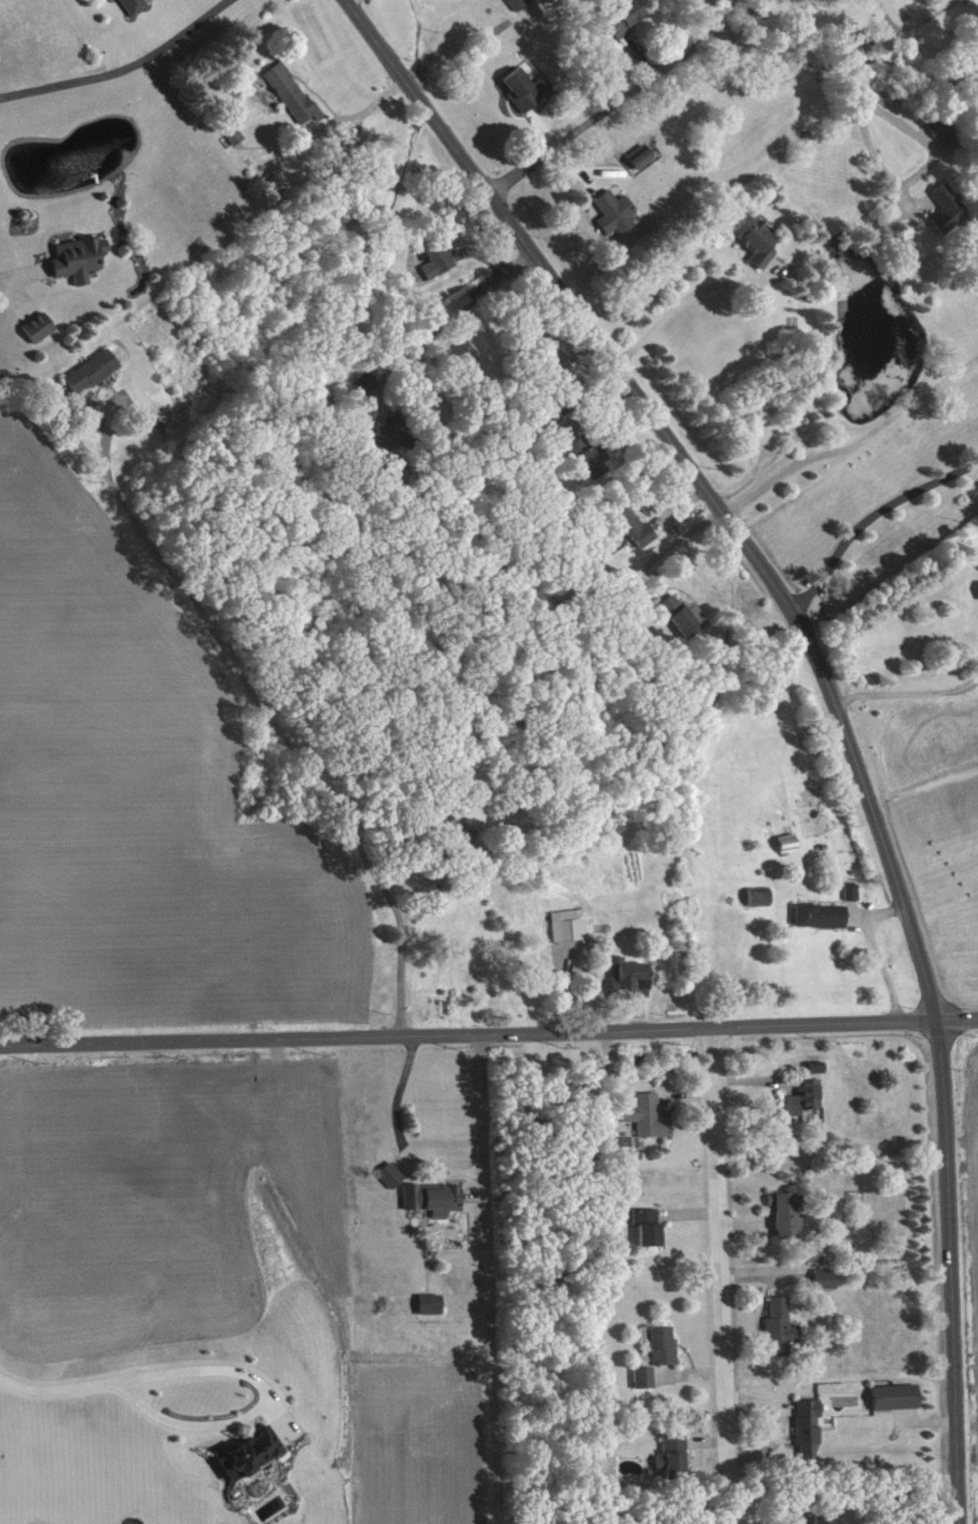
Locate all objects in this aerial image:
building: (521, 3)
building: (137, 5)
building: (626, 17)
road: (916, 19)
road: (122, 67)
road: (822, 73)
building: (528, 88)
building: (295, 95)
road: (621, 99)
building: (944, 129)
building: (237, 135)
building: (643, 155)
building: (950, 207)
building: (617, 211)
building: (757, 239)
building: (81, 257)
building: (439, 259)
road: (21, 271)
road: (681, 304)
road: (458, 312)
building: (41, 326)
building: (91, 372)
building: (364, 384)
building: (391, 430)
building: (596, 460)
road: (870, 513)
building: (633, 524)
building: (685, 615)
road: (831, 689)
road: (909, 693)
road: (272, 726)
building: (460, 831)
building: (789, 842)
building: (854, 891)
building: (762, 896)
building: (823, 915)
building: (572, 924)
building: (630, 977)
road: (489, 1035)
building: (807, 1096)
road: (397, 1099)
building: (649, 1115)
building: (394, 1174)
building: (435, 1198)
building: (788, 1215)
building: (650, 1226)
crop: (967, 1245)
building: (818, 1253)
road: (721, 1277)
building: (827, 1279)
road: (491, 1280)
building: (433, 1304)
building: (783, 1327)
building: (665, 1346)
building: (646, 1377)
road: (62, 1389)
building: (897, 1396)
road: (263, 1403)
building: (809, 1428)
building: (250, 1453)
building: (675, 1458)
building: (825, 1519)

